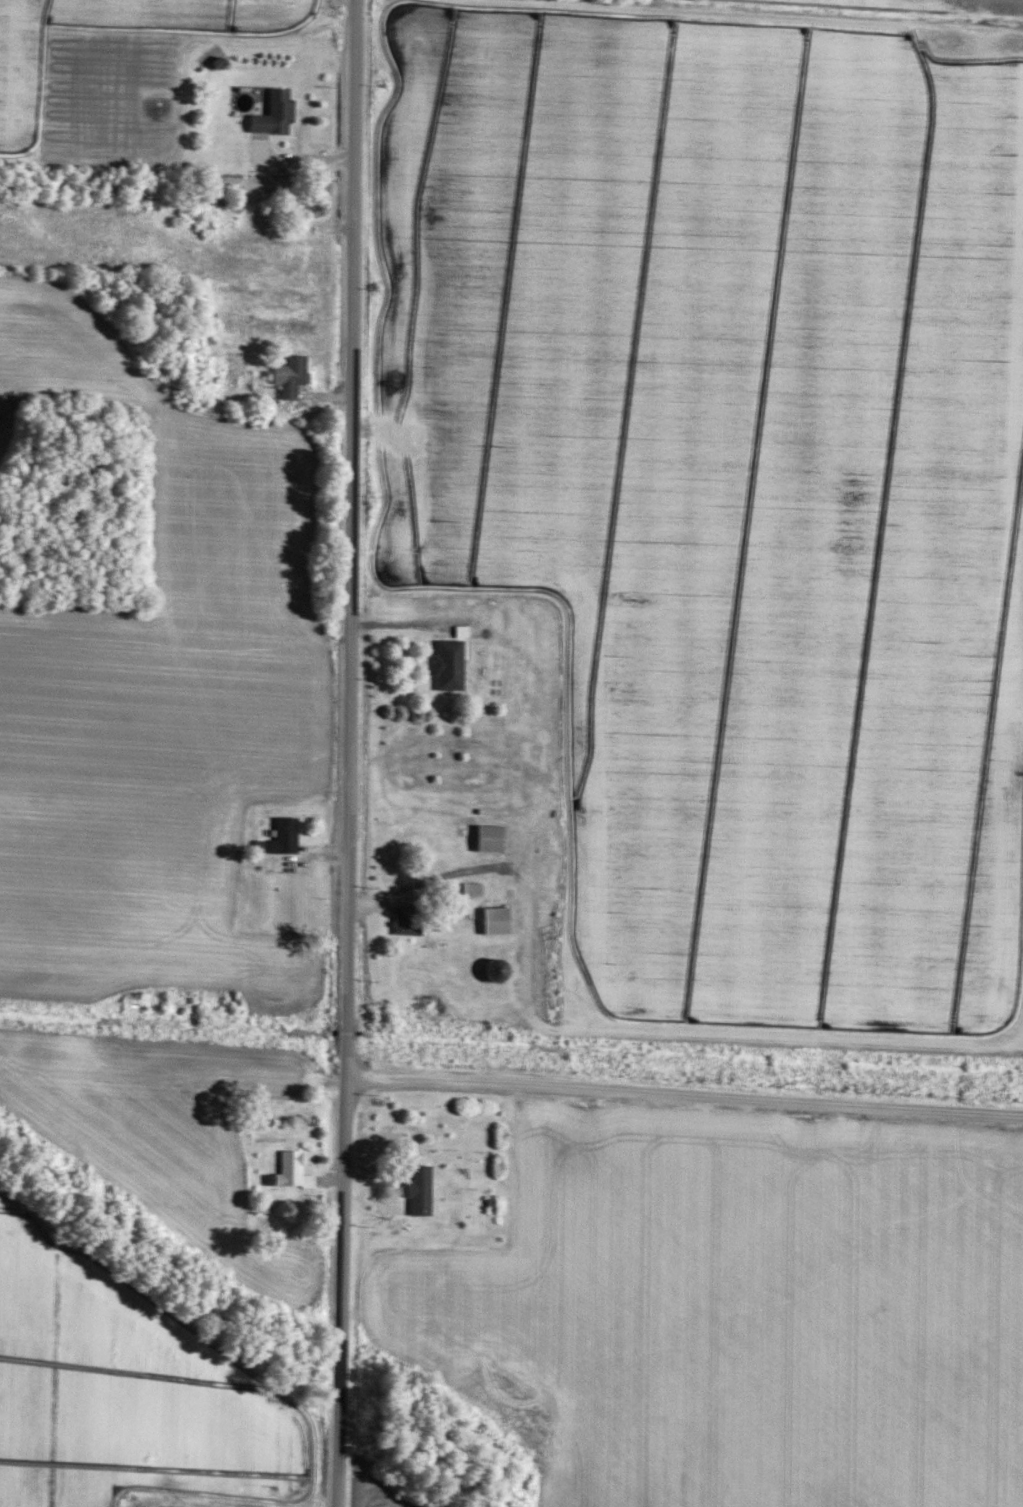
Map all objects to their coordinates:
building: (269, 114)
building: (285, 376)
building: (443, 664)
road: (347, 753)
building: (279, 835)
building: (483, 837)
road: (432, 877)
building: (489, 920)
building: (400, 921)
building: (490, 970)
building: (126, 999)
road: (684, 1095)
building: (284, 1169)
building: (415, 1189)

